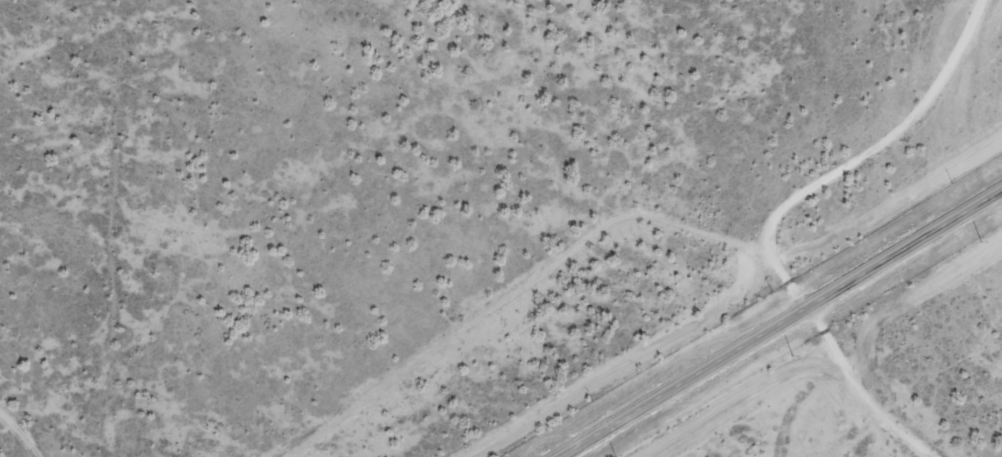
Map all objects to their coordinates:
road: (883, 134)
power tower: (979, 243)
road: (564, 253)
road: (781, 324)
power tower: (790, 357)
road: (860, 385)
road: (22, 432)

